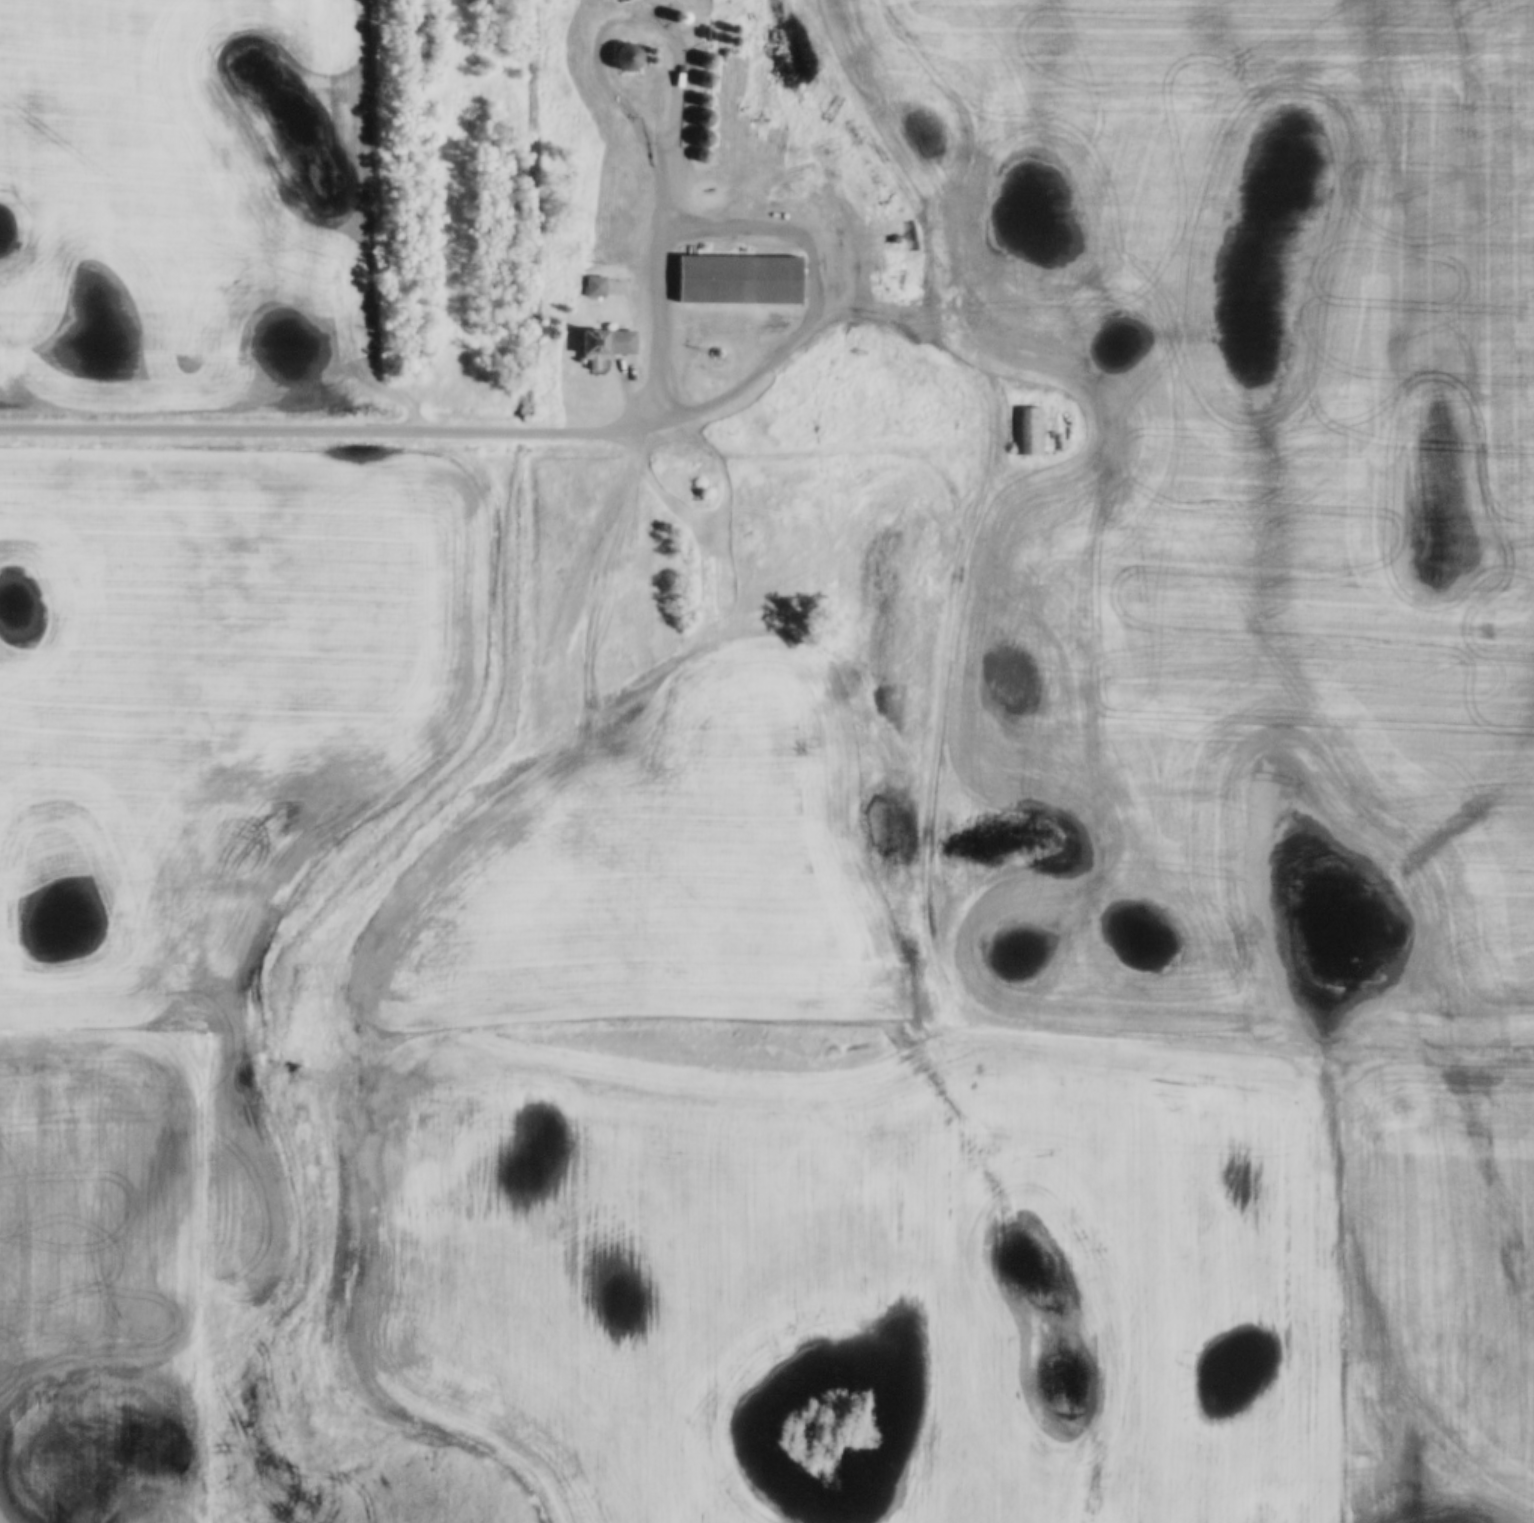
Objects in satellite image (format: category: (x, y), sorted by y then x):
building: (627, 60)
road: (728, 112)
road: (665, 225)
building: (737, 281)
building: (609, 350)
building: (1018, 428)
road: (552, 433)
building: (1033, 433)
road: (958, 506)
road: (542, 725)

